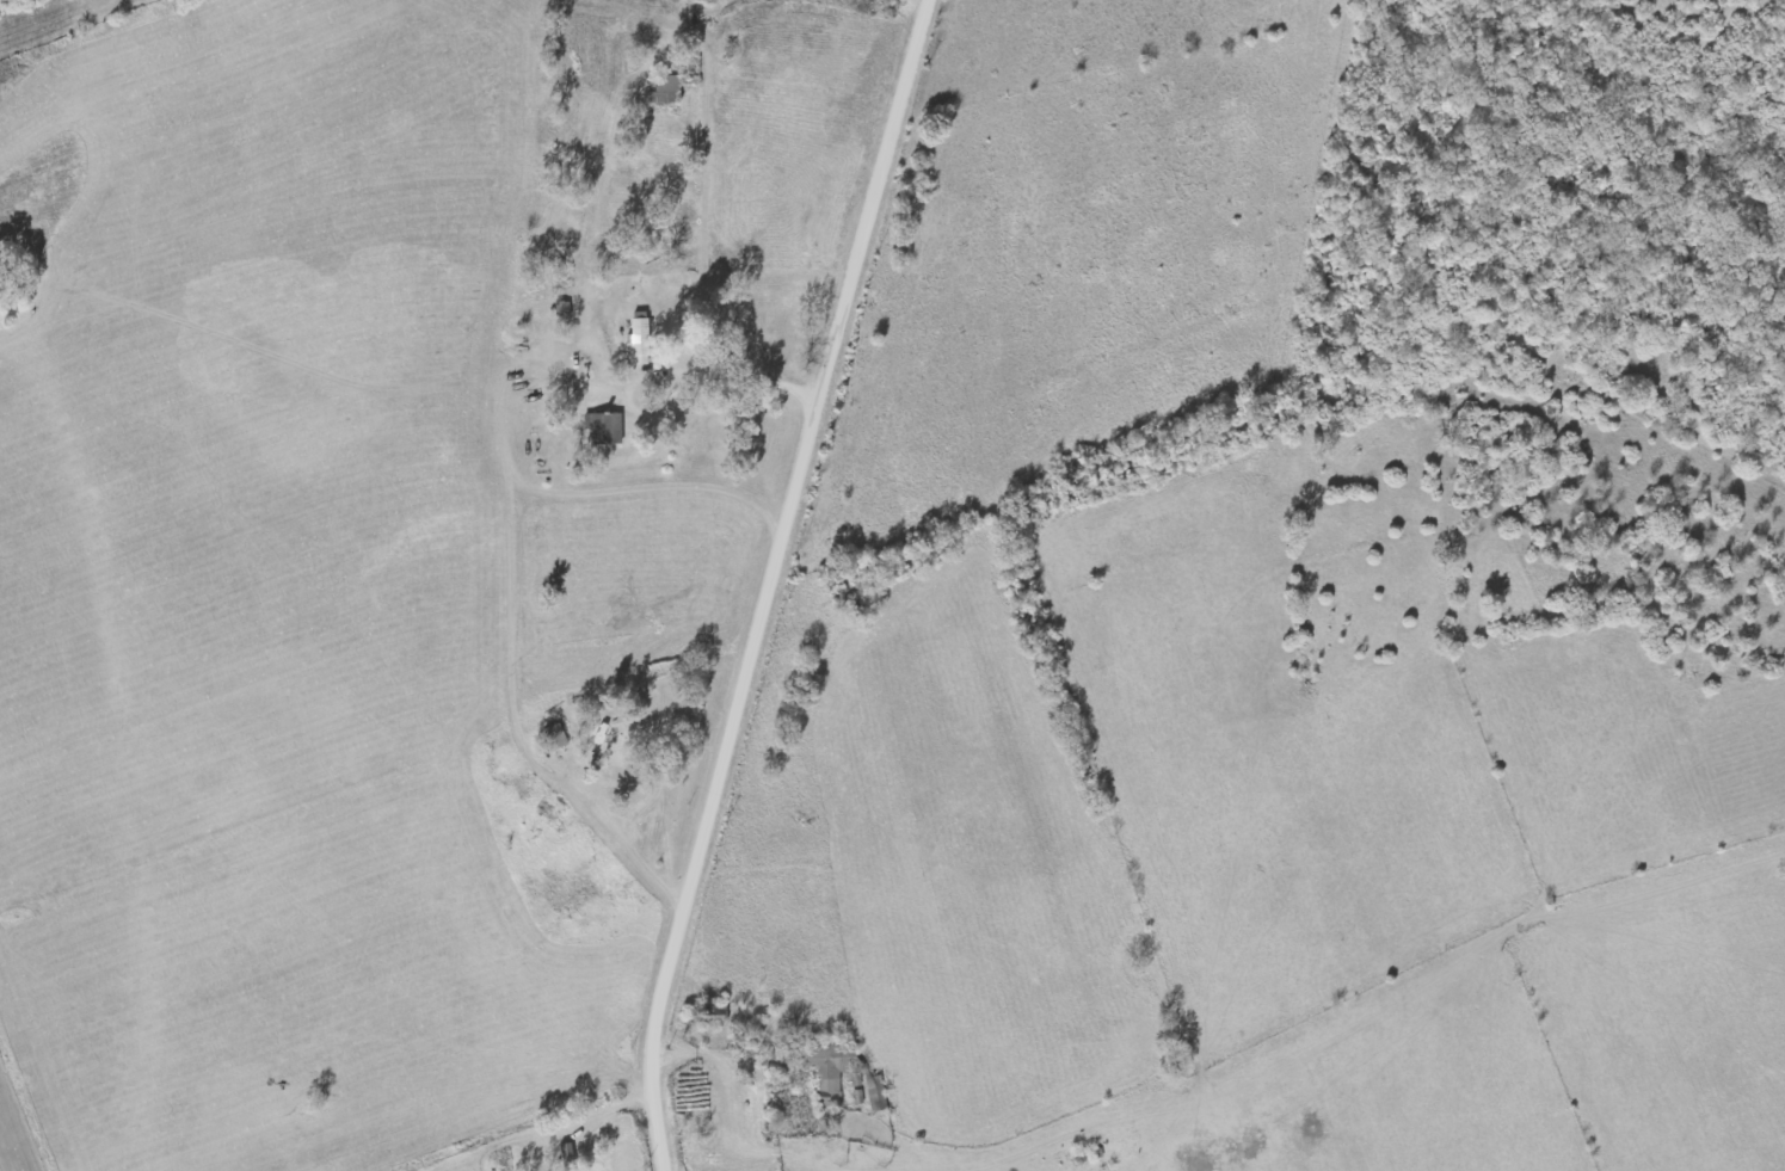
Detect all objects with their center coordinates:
building: (663, 91)
building: (636, 343)
building: (602, 430)
road: (768, 583)
building: (571, 1157)

